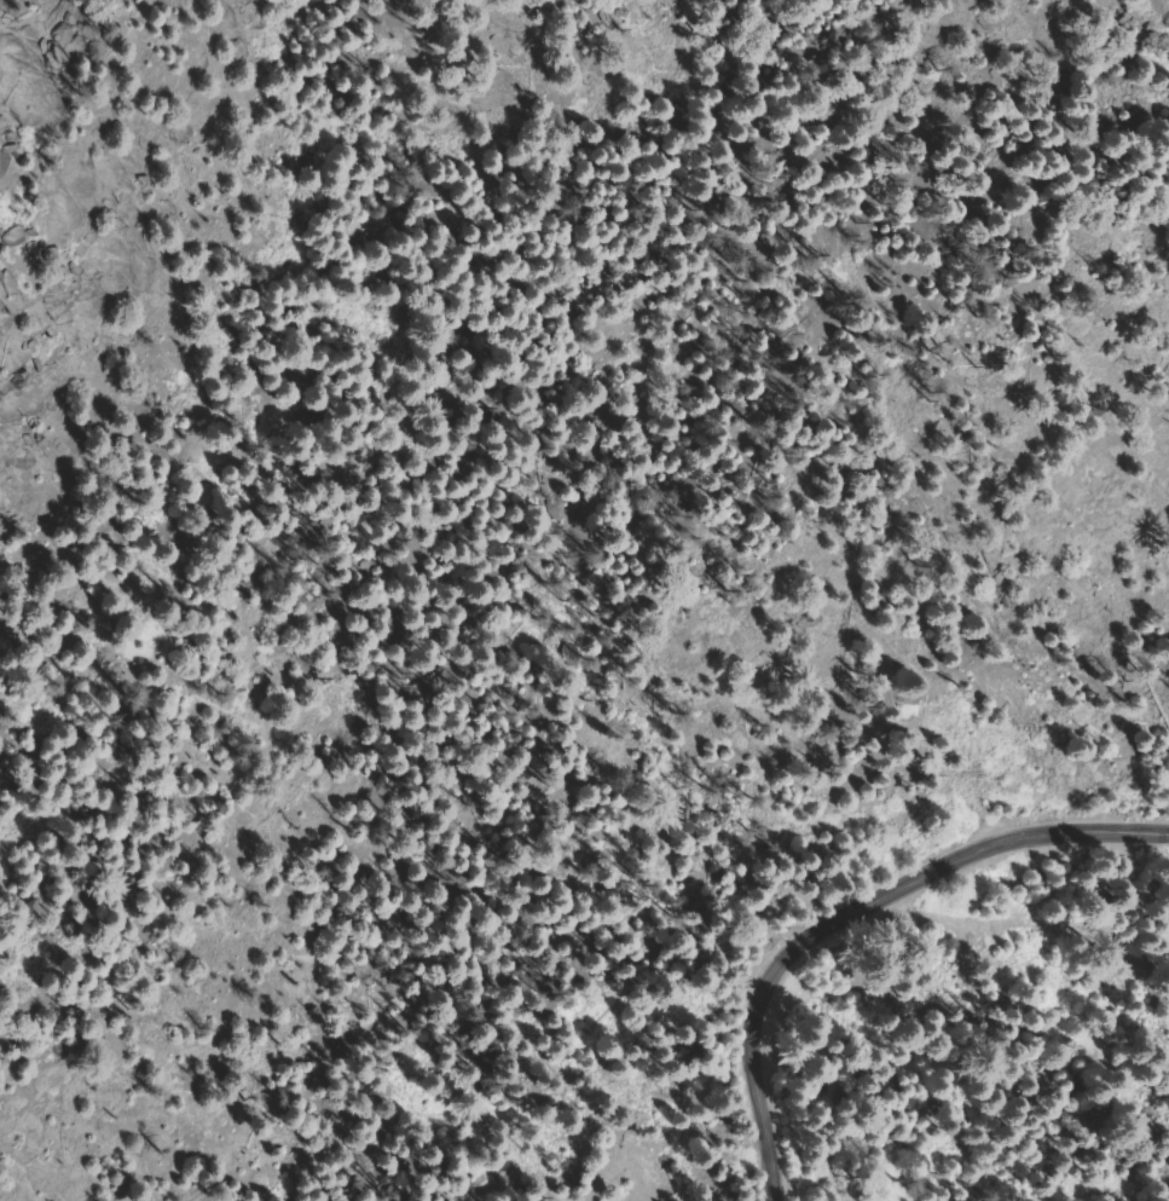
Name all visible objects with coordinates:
road: (863, 923)

